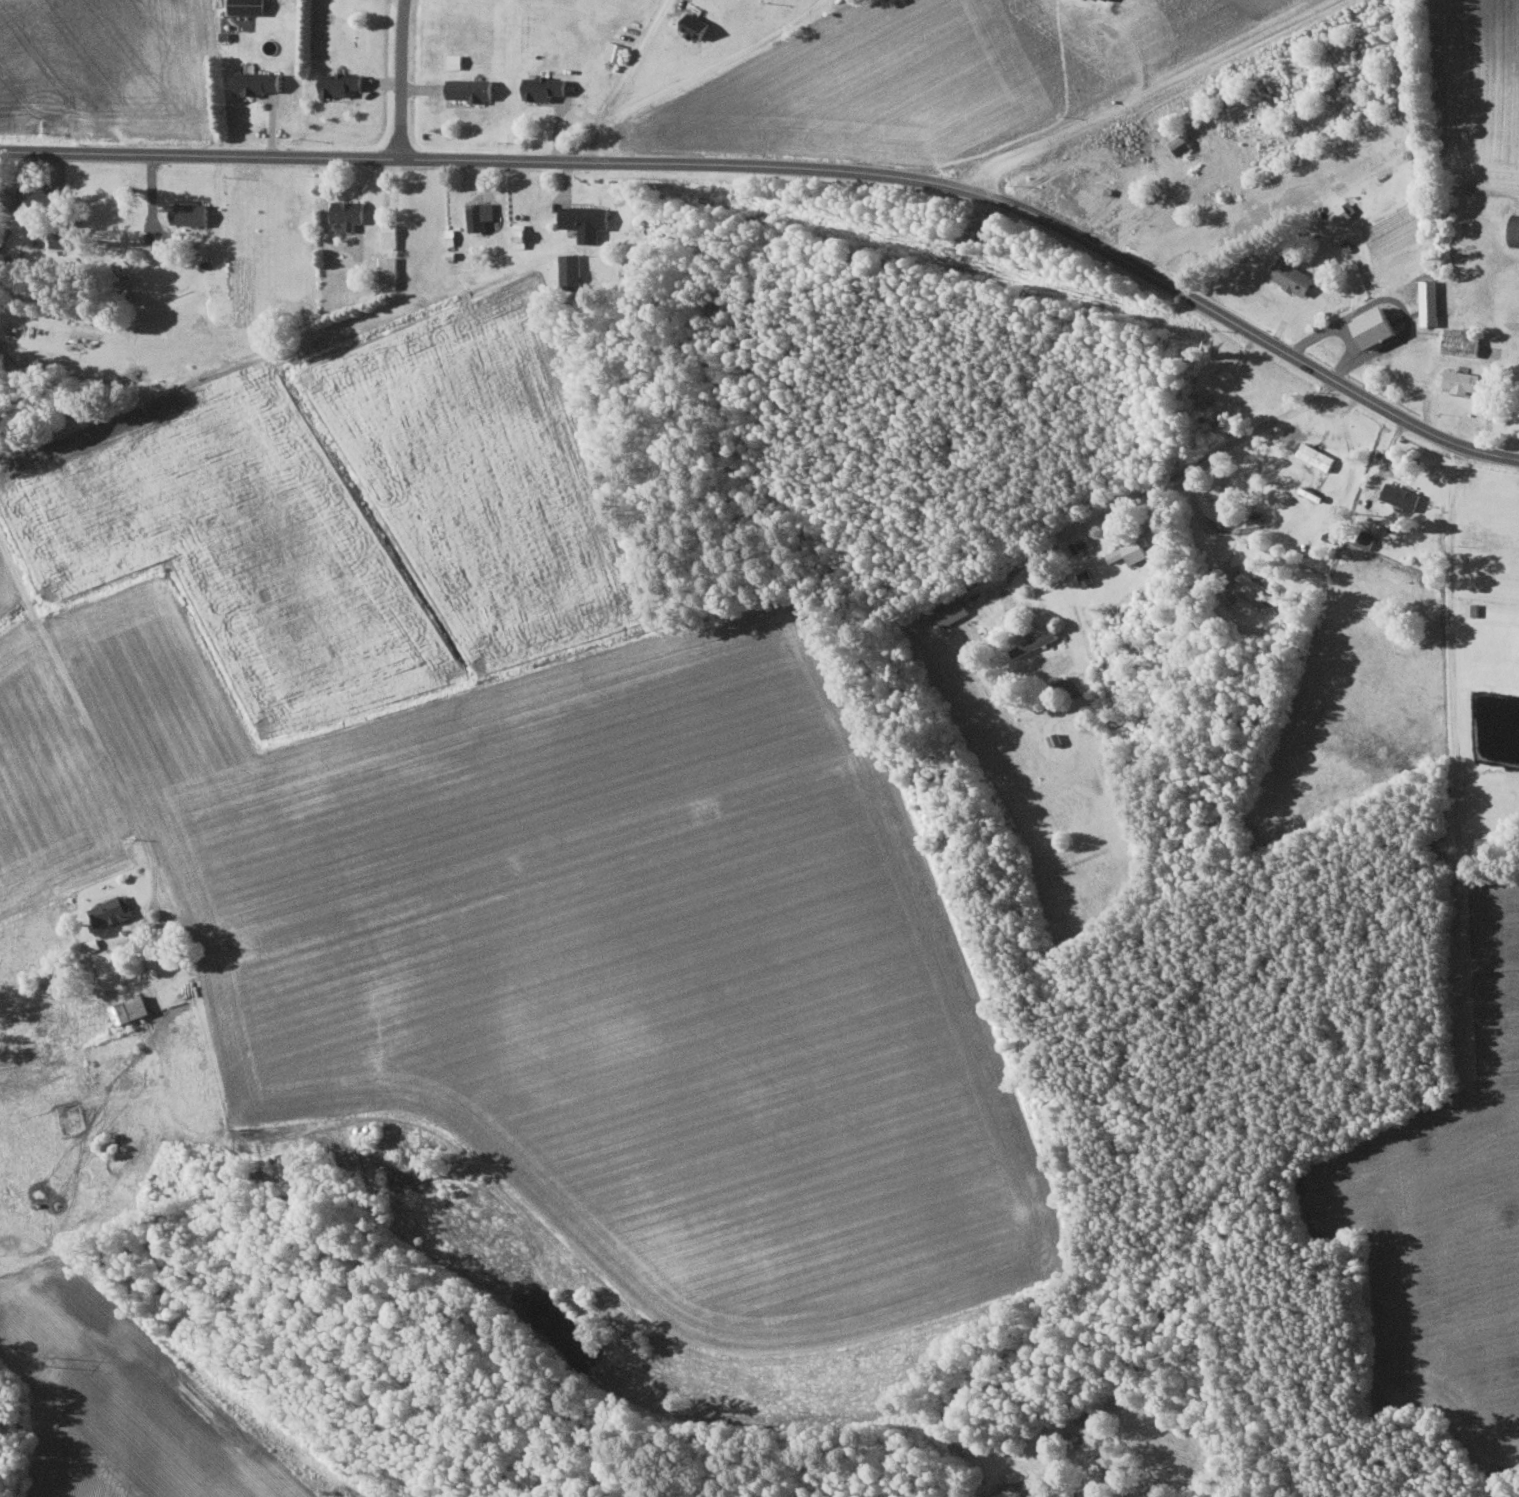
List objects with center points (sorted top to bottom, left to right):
building: (247, 6)
building: (694, 26)
road: (714, 63)
road: (400, 77)
road: (623, 79)
building: (257, 82)
building: (339, 83)
building: (543, 88)
building: (469, 89)
road: (1150, 90)
building: (1180, 144)
road: (795, 164)
building: (36, 197)
building: (348, 212)
building: (1340, 213)
building: (189, 214)
building: (479, 215)
building: (585, 221)
building: (1514, 231)
building: (389, 235)
building: (519, 235)
building: (60, 238)
building: (570, 271)
building: (388, 272)
building: (1291, 274)
building: (1429, 302)
building: (1375, 327)
building: (1462, 342)
building: (1462, 380)
building: (1316, 456)
road: (1171, 479)
building: (1401, 495)
building: (1366, 539)
building: (1130, 551)
building: (1086, 578)
building: (950, 609)
road: (1442, 609)
building: (1472, 609)
road: (102, 728)
building: (110, 911)
building: (129, 1010)
power tower: (48, 1363)
building: (1108, 1465)
road: (1004, 1485)
building: (1053, 1493)

